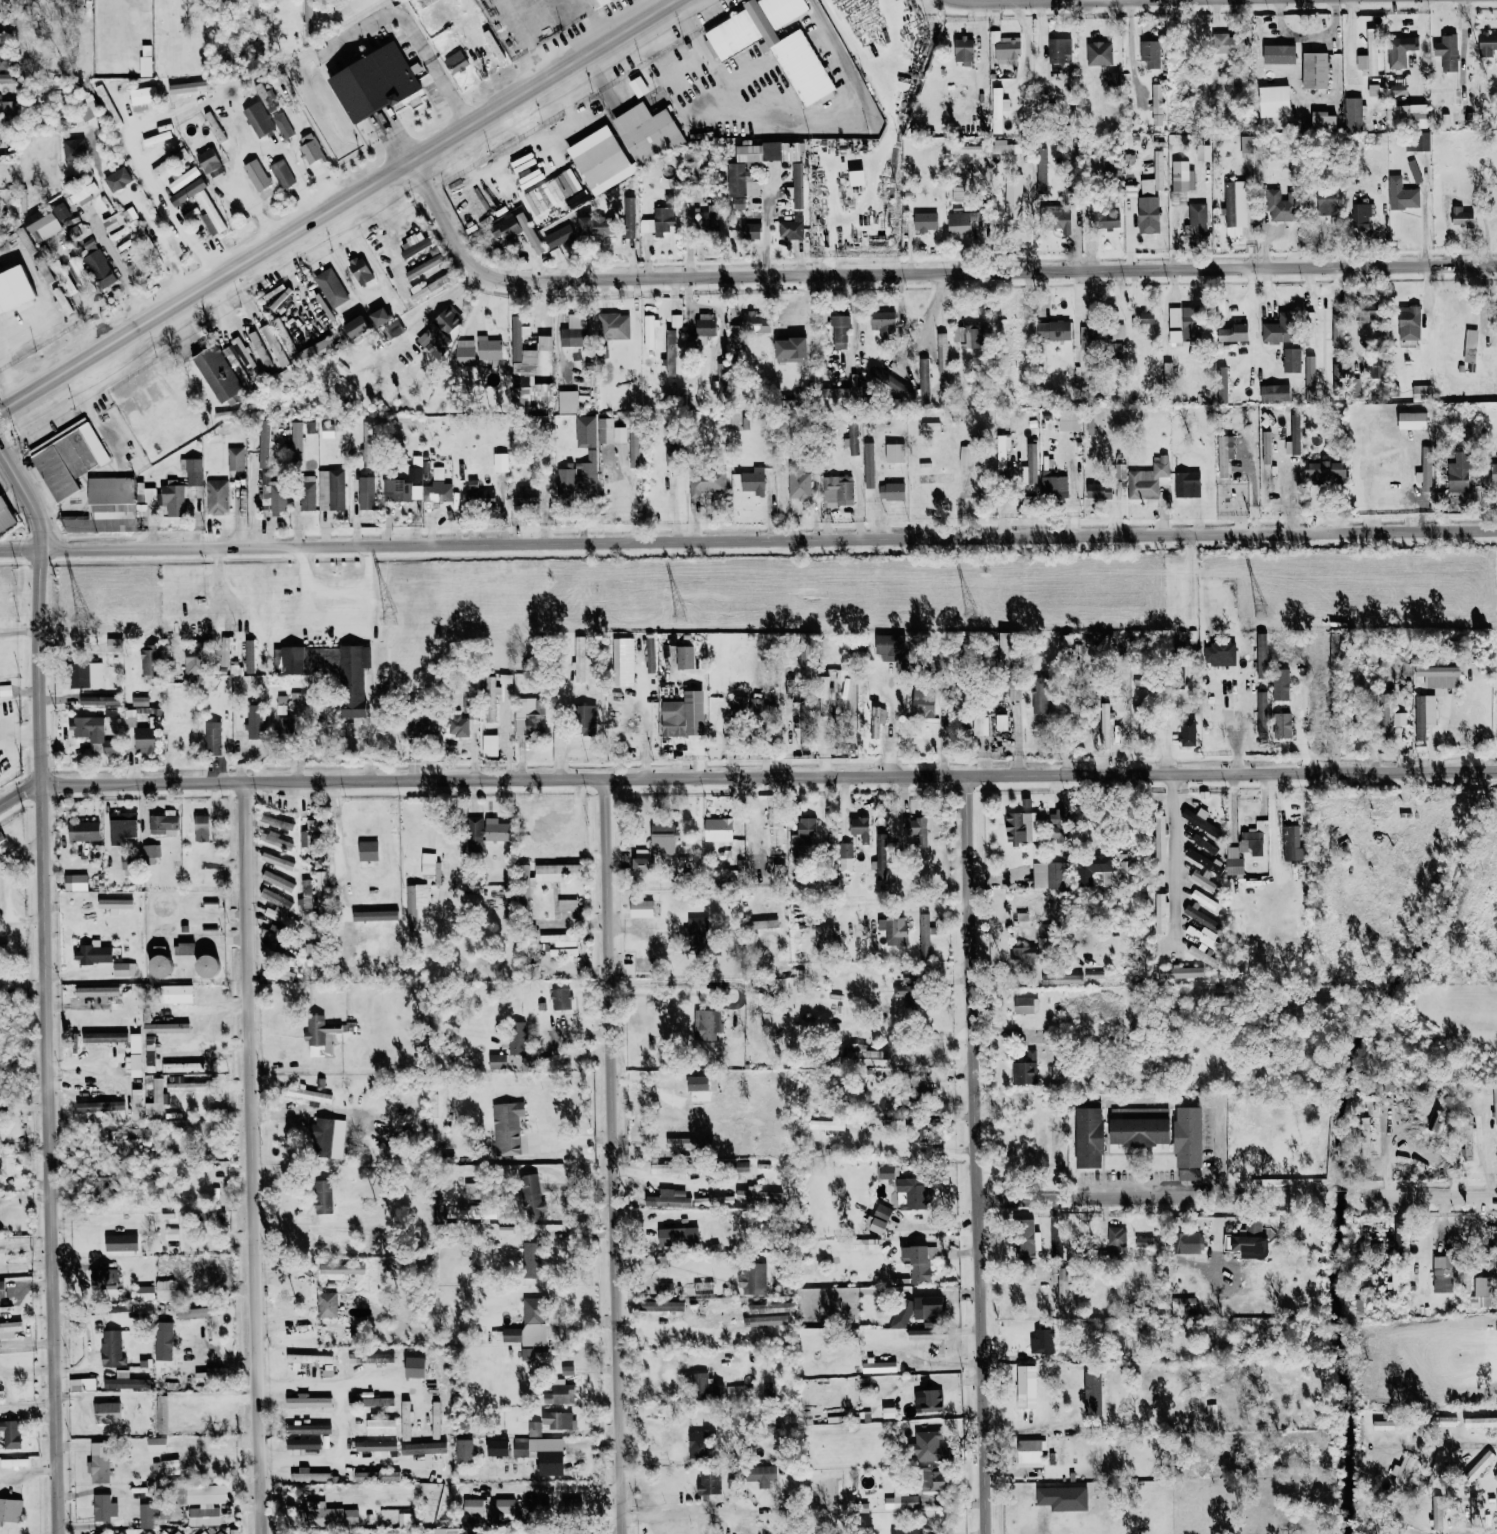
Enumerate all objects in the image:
building: (597, 2)
building: (308, 12)
road: (594, 21)
road: (527, 40)
building: (1487, 43)
building: (774, 44)
building: (1058, 48)
building: (964, 50)
building: (1400, 50)
building: (1447, 51)
building: (1099, 52)
building: (1150, 53)
building: (1284, 53)
building: (1369, 55)
building: (456, 61)
building: (1315, 69)
road: (436, 72)
building: (6, 77)
building: (1113, 77)
building: (373, 81)
building: (189, 86)
building: (638, 86)
building: (1373, 89)
building: (1397, 89)
building: (266, 97)
building: (142, 98)
building: (1274, 100)
building: (1157, 104)
building: (7, 106)
building: (86, 107)
building: (998, 108)
building: (1398, 112)
building: (1353, 113)
building: (258, 118)
building: (115, 119)
building: (1324, 119)
building: (283, 124)
building: (156, 138)
building: (1417, 141)
building: (1246, 146)
building: (73, 147)
building: (1006, 147)
building: (966, 148)
road: (284, 150)
building: (768, 151)
building: (1203, 151)
building: (312, 153)
building: (597, 153)
building: (208, 160)
building: (168, 162)
building: (1158, 164)
building: (1112, 166)
building: (1042, 169)
building: (281, 173)
building: (256, 174)
building: (1181, 175)
building: (182, 177)
building: (856, 177)
building: (117, 179)
building: (568, 181)
building: (741, 183)
building: (797, 184)
road: (153, 185)
building: (84, 193)
building: (1402, 194)
building: (1013, 198)
building: (1235, 203)
building: (1321, 204)
building: (202, 205)
building: (1280, 205)
road: (141, 207)
road: (340, 207)
building: (60, 210)
road: (257, 214)
building: (1148, 214)
building: (629, 216)
building: (1361, 216)
building: (1197, 217)
building: (1462, 217)
building: (706, 218)
building: (1055, 218)
building: (1103, 218)
building: (663, 219)
building: (925, 220)
building: (112, 221)
building: (959, 222)
building: (135, 225)
building: (596, 225)
building: (646, 225)
road: (1028, 225)
building: (43, 226)
building: (791, 228)
building: (516, 230)
building: (750, 230)
building: (119, 232)
building: (562, 234)
building: (415, 245)
building: (97, 265)
building: (423, 266)
road: (119, 267)
building: (78, 269)
building: (359, 269)
road: (925, 272)
building: (44, 273)
building: (63, 277)
road: (296, 284)
building: (14, 287)
building: (330, 287)
building: (428, 288)
building: (59, 296)
building: (1366, 311)
building: (379, 316)
building: (1145, 317)
building: (675, 320)
road: (1254, 320)
building: (883, 322)
building: (1409, 322)
building: (1184, 323)
building: (613, 325)
building: (356, 326)
building: (1055, 326)
building: (704, 327)
building: (747, 327)
building: (1337, 327)
building: (393, 329)
building: (439, 330)
building: (1279, 330)
building: (839, 331)
building: (1117, 331)
building: (649, 332)
building: (282, 333)
road: (943, 333)
building: (1234, 333)
building: (572, 336)
building: (967, 336)
building: (1090, 337)
building: (1471, 337)
building: (273, 345)
building: (259, 348)
building: (488, 348)
building: (790, 349)
building: (1115, 349)
building: (315, 351)
building: (674, 351)
building: (242, 352)
building: (465, 352)
building: (942, 354)
building: (1292, 359)
building: (234, 362)
building: (1372, 367)
building: (530, 371)
building: (217, 373)
building: (286, 375)
building: (1310, 378)
building: (1337, 379)
building: (924, 380)
building: (890, 381)
building: (1223, 384)
building: (1274, 392)
building: (1421, 392)
building: (835, 397)
building: (1069, 420)
building: (1413, 420)
building: (309, 426)
building: (327, 430)
building: (610, 431)
building: (852, 437)
building: (264, 443)
building: (296, 444)
building: (634, 447)
building: (1002, 449)
building: (895, 452)
building: (1225, 454)
building: (965, 455)
building: (67, 458)
building: (235, 458)
building: (500, 462)
building: (1032, 463)
building: (1494, 467)
building: (1425, 469)
building: (1325, 471)
building: (1458, 473)
building: (578, 478)
building: (1147, 479)
building: (753, 480)
building: (706, 481)
building: (798, 482)
building: (1267, 482)
building: (1187, 483)
building: (1053, 486)
building: (181, 487)
building: (437, 487)
building: (331, 489)
building: (396, 490)
building: (837, 490)
building: (1099, 490)
road: (28, 491)
building: (891, 491)
building: (307, 492)
building: (144, 494)
building: (272, 495)
building: (527, 495)
building: (216, 496)
building: (365, 496)
building: (106, 506)
building: (4, 516)
road: (748, 535)
road: (222, 585)
road: (335, 590)
power tower: (1260, 610)
power tower: (971, 614)
power tower: (391, 616)
power tower: (680, 616)
power tower: (79, 619)
road: (336, 626)
building: (114, 644)
building: (890, 646)
building: (1009, 649)
building: (225, 650)
building: (1220, 653)
building: (650, 655)
building: (249, 656)
building: (1262, 656)
building: (288, 657)
building: (684, 657)
building: (579, 658)
building: (193, 660)
building: (149, 661)
building: (623, 661)
building: (805, 662)
building: (234, 670)
building: (345, 673)
building: (86, 675)
building: (1439, 676)
building: (1283, 684)
building: (5, 689)
building: (824, 695)
building: (1014, 695)
building: (1042, 697)
building: (490, 698)
building: (99, 700)
building: (139, 701)
building: (923, 703)
building: (737, 705)
building: (756, 707)
building: (853, 709)
building: (1384, 711)
building: (804, 713)
building: (1262, 713)
building: (1424, 714)
building: (684, 715)
building: (529, 716)
road: (645, 716)
building: (140, 717)
building: (877, 718)
building: (1399, 718)
building: (585, 719)
building: (253, 721)
building: (1001, 722)
building: (458, 725)
building: (980, 725)
building: (1282, 725)
building: (420, 726)
road: (892, 731)
building: (93, 732)
building: (1187, 732)
building: (212, 737)
building: (145, 739)
road: (770, 775)
road: (22, 796)
building: (773, 819)
building: (162, 822)
building: (276, 822)
building: (1201, 822)
building: (122, 826)
road: (1273, 826)
building: (201, 827)
building: (1021, 827)
building: (554, 828)
building: (860, 828)
building: (83, 830)
building: (497, 830)
building: (718, 830)
building: (917, 830)
building: (474, 834)
building: (806, 834)
building: (311, 836)
building: (1, 838)
building: (1160, 838)
building: (1253, 838)
building: (662, 839)
building: (275, 840)
building: (1293, 844)
building: (1205, 845)
building: (150, 850)
building: (367, 850)
building: (845, 857)
road: (1175, 857)
building: (277, 860)
building: (1233, 861)
building: (880, 863)
building: (428, 865)
building: (641, 865)
building: (1124, 866)
building: (1094, 869)
building: (554, 871)
building: (1047, 874)
building: (277, 881)
building: (1203, 881)
building: (75, 882)
building: (524, 885)
building: (319, 888)
building: (306, 893)
building: (1204, 899)
building: (114, 903)
building: (415, 903)
building: (567, 905)
road: (902, 906)
building: (276, 907)
building: (641, 908)
building: (1161, 912)
building: (1200, 916)
building: (762, 924)
building: (894, 930)
building: (698, 934)
building: (270, 935)
building: (924, 935)
building: (1201, 935)
building: (824, 937)
building: (562, 939)
building: (183, 948)
building: (527, 948)
building: (92, 953)
building: (314, 953)
building: (282, 959)
building: (161, 966)
building: (207, 966)
building: (123, 969)
building: (1181, 972)
building: (277, 974)
building: (1063, 979)
road: (678, 982)
building: (909, 989)
building: (97, 992)
building: (175, 993)
building: (560, 999)
building: (1026, 1004)
building: (704, 1024)
building: (165, 1028)
building: (319, 1035)
building: (104, 1036)
road: (49, 1039)
building: (516, 1044)
building: (149, 1053)
building: (135, 1055)
building: (497, 1061)
building: (182, 1067)
building: (1025, 1070)
building: (184, 1084)
building: (699, 1088)
building: (308, 1095)
building: (155, 1099)
building: (136, 1104)
building: (1495, 1105)
building: (100, 1107)
building: (826, 1124)
building: (1140, 1126)
building: (507, 1128)
building: (328, 1137)
building: (1189, 1137)
building: (1090, 1138)
building: (1368, 1139)
road: (640, 1141)
building: (689, 1142)
park: (1025, 1143)
road: (979, 1153)
road: (609, 1155)
road: (255, 1157)
building: (674, 1168)
building: (889, 1172)
road: (672, 1182)
building: (913, 1194)
building: (758, 1195)
building: (323, 1196)
road: (1433, 1196)
building: (531, 1197)
building: (669, 1198)
road: (1137, 1198)
building: (714, 1200)
building: (476, 1212)
building: (171, 1233)
building: (1116, 1236)
building: (678, 1237)
building: (1027, 1240)
building: (1251, 1241)
building: (121, 1242)
building: (1144, 1242)
building: (1187, 1243)
building: (531, 1260)
building: (177, 1262)
building: (920, 1264)
building: (342, 1269)
building: (1443, 1274)
building: (102, 1277)
building: (755, 1279)
building: (686, 1286)
building: (164, 1289)
building: (1, 1290)
building: (1062, 1290)
building: (145, 1292)
building: (1481, 1292)
building: (326, 1304)
building: (1184, 1304)
building: (783, 1307)
building: (929, 1308)
building: (1358, 1308)
building: (665, 1309)
building: (195, 1312)
building: (901, 1313)
building: (715, 1318)
building: (782, 1319)
building: (748, 1321)
building: (530, 1324)
building: (9, 1330)
building: (1446, 1340)
building: (1042, 1342)
building: (111, 1348)
building: (525, 1353)
building: (383, 1357)
building: (355, 1358)
building: (313, 1361)
building: (879, 1367)
building: (415, 1368)
building: (567, 1370)
building: (122, 1374)
building: (202, 1377)
road: (386, 1381)
building: (122, 1383)
building: (81, 1384)
building: (1026, 1386)
building: (705, 1388)
building: (1, 1389)
building: (1096, 1390)
building: (557, 1394)
building: (928, 1400)
building: (307, 1401)
building: (374, 1401)
building: (107, 1412)
building: (889, 1412)
building: (556, 1419)
building: (203, 1420)
building: (406, 1421)
building: (1446, 1421)
building: (1480, 1422)
road: (341, 1425)
building: (1385, 1425)
building: (381, 1427)
building: (308, 1429)
building: (534, 1429)
building: (9, 1434)
building: (699, 1443)
building: (156, 1444)
building: (304, 1446)
building: (375, 1446)
building: (929, 1447)
building: (497, 1448)
building: (464, 1451)
road: (1383, 1451)
building: (542, 1453)
building: (1030, 1453)
building: (99, 1463)
building: (1480, 1465)
building: (169, 1467)
building: (1436, 1469)
building: (1404, 1473)
building: (757, 1474)
building: (309, 1475)
building: (377, 1476)
building: (1495, 1478)
building: (933, 1479)
building: (708, 1483)
road: (551, 1490)
building: (205, 1495)
building: (1063, 1498)
building: (901, 1500)
building: (571, 1505)
building: (473, 1506)
building: (504, 1506)
building: (103, 1508)
building: (205, 1509)
building: (10, 1510)
road: (678, 1511)
building: (1437, 1512)
building: (1475, 1512)
building: (162, 1514)
building: (326, 1515)
building: (383, 1515)
building: (145, 1516)
building: (405, 1520)
building: (451, 1531)
building: (906, 1531)
building: (103, 1532)
building: (177, 1532)
building: (203, 1532)
building: (218, 1532)
building: (120, 1533)
building: (148, 1533)

